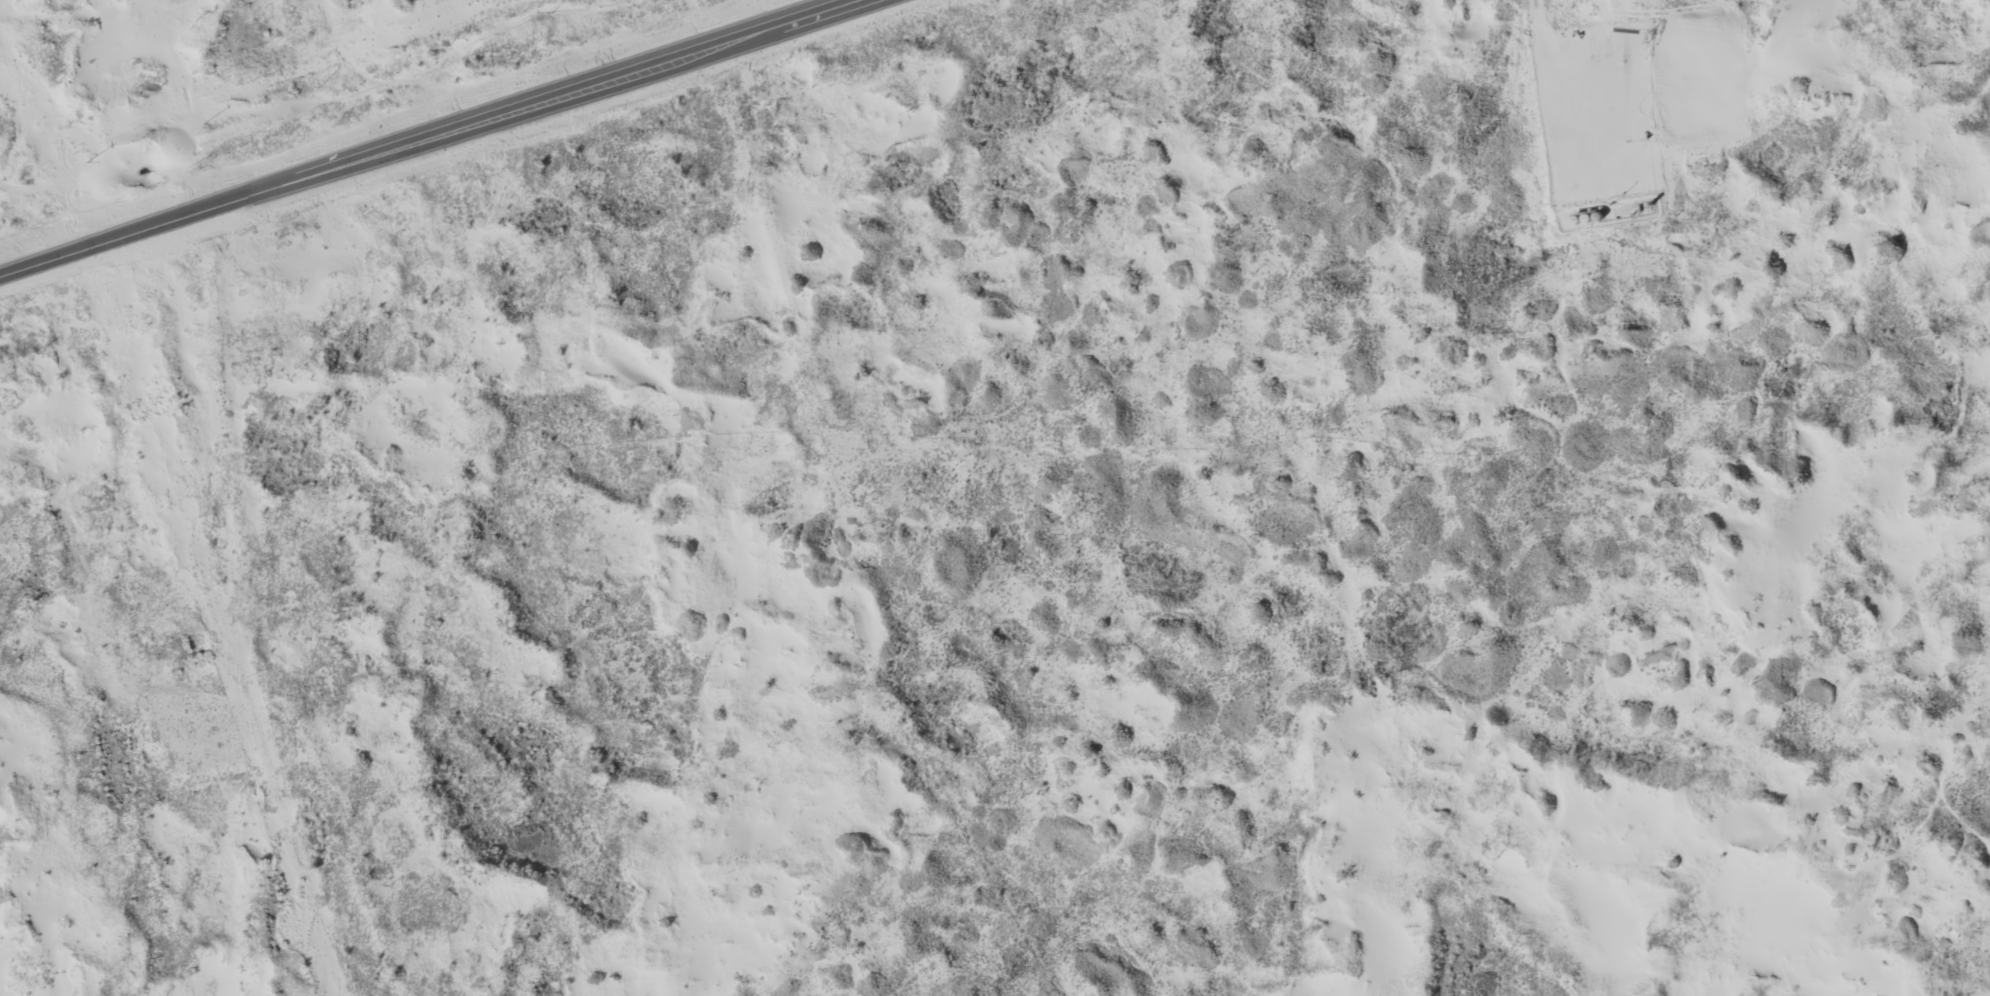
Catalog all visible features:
road: (428, 137)

